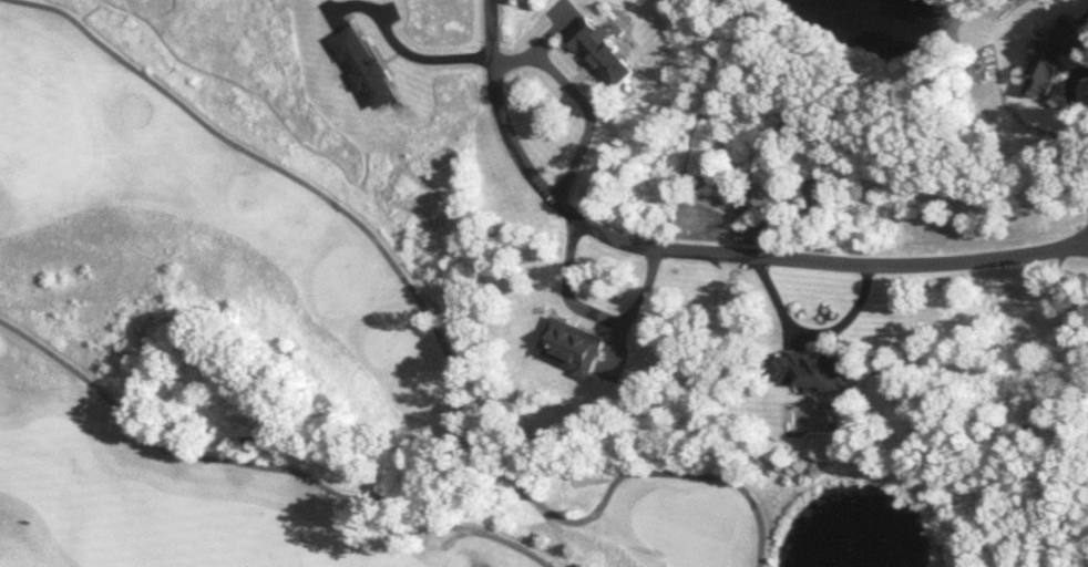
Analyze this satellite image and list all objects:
road: (403, 48)
building: (604, 52)
building: (1047, 59)
building: (366, 68)
road: (581, 100)
road: (1081, 134)
road: (330, 203)
road: (706, 256)
road: (589, 310)
road: (814, 332)
building: (571, 347)
park: (357, 372)
building: (814, 372)
road: (261, 464)

